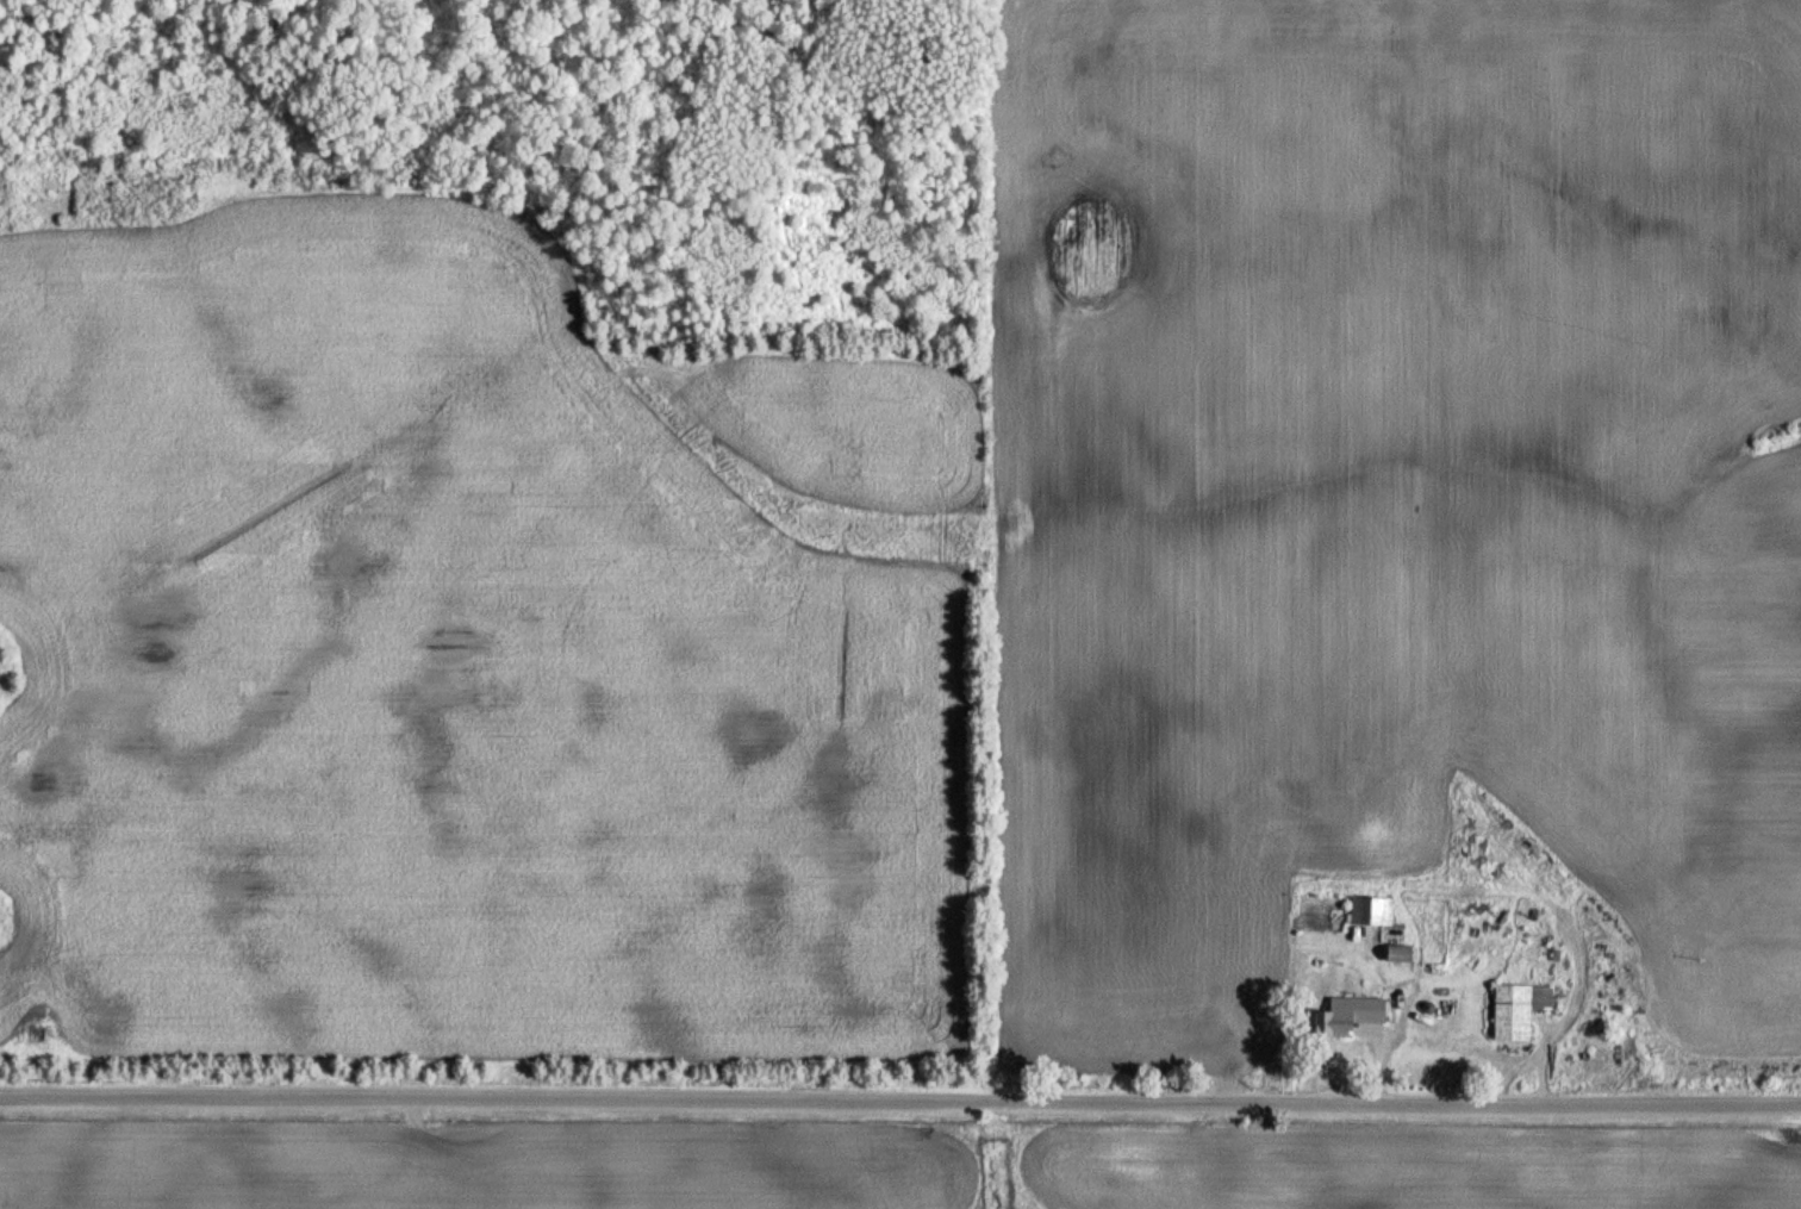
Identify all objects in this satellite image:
building: (1369, 910)
building: (1395, 952)
building: (1515, 1008)
building: (1346, 1015)
road: (899, 1098)

